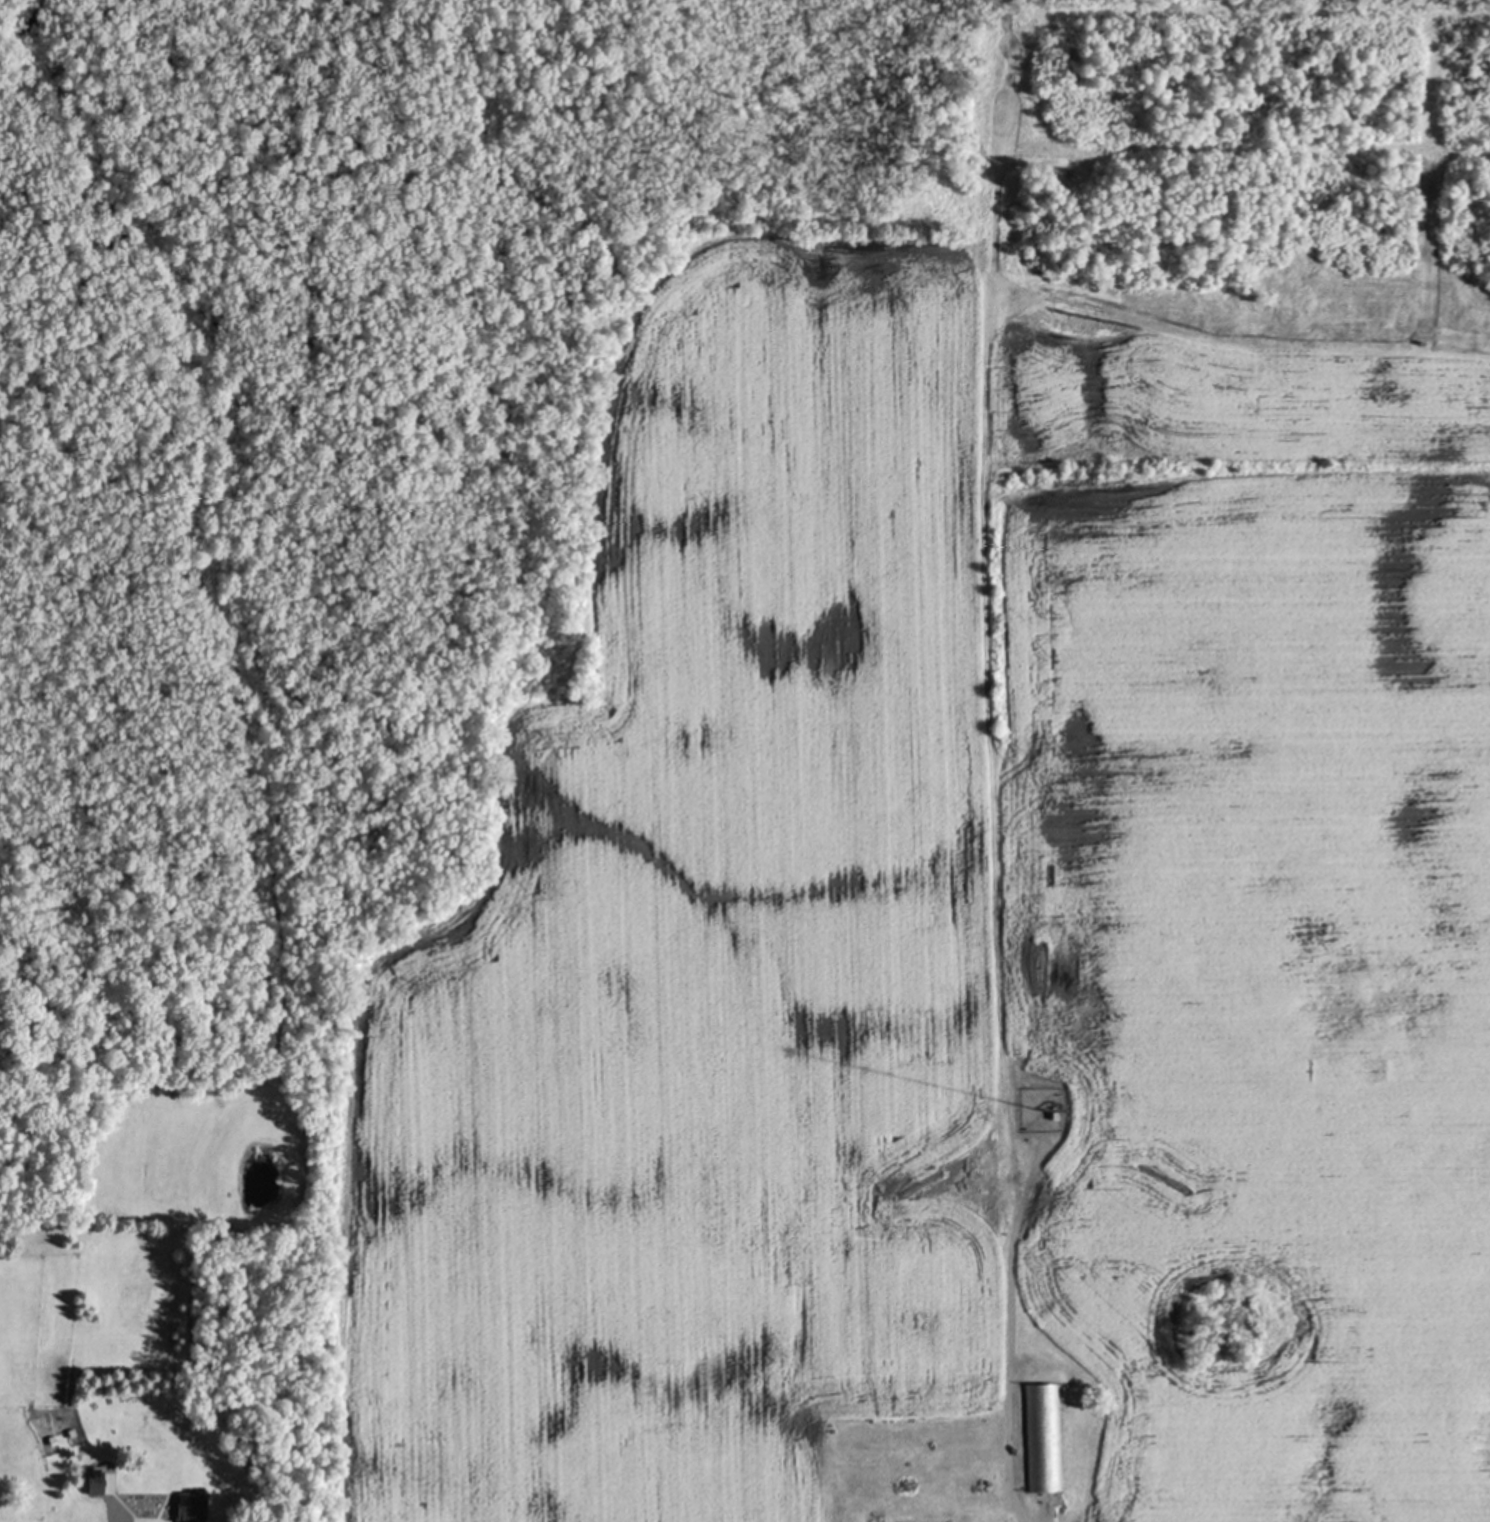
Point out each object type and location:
building: (72, 1429)
building: (53, 1436)
building: (1043, 1436)
building: (96, 1478)
building: (192, 1506)

